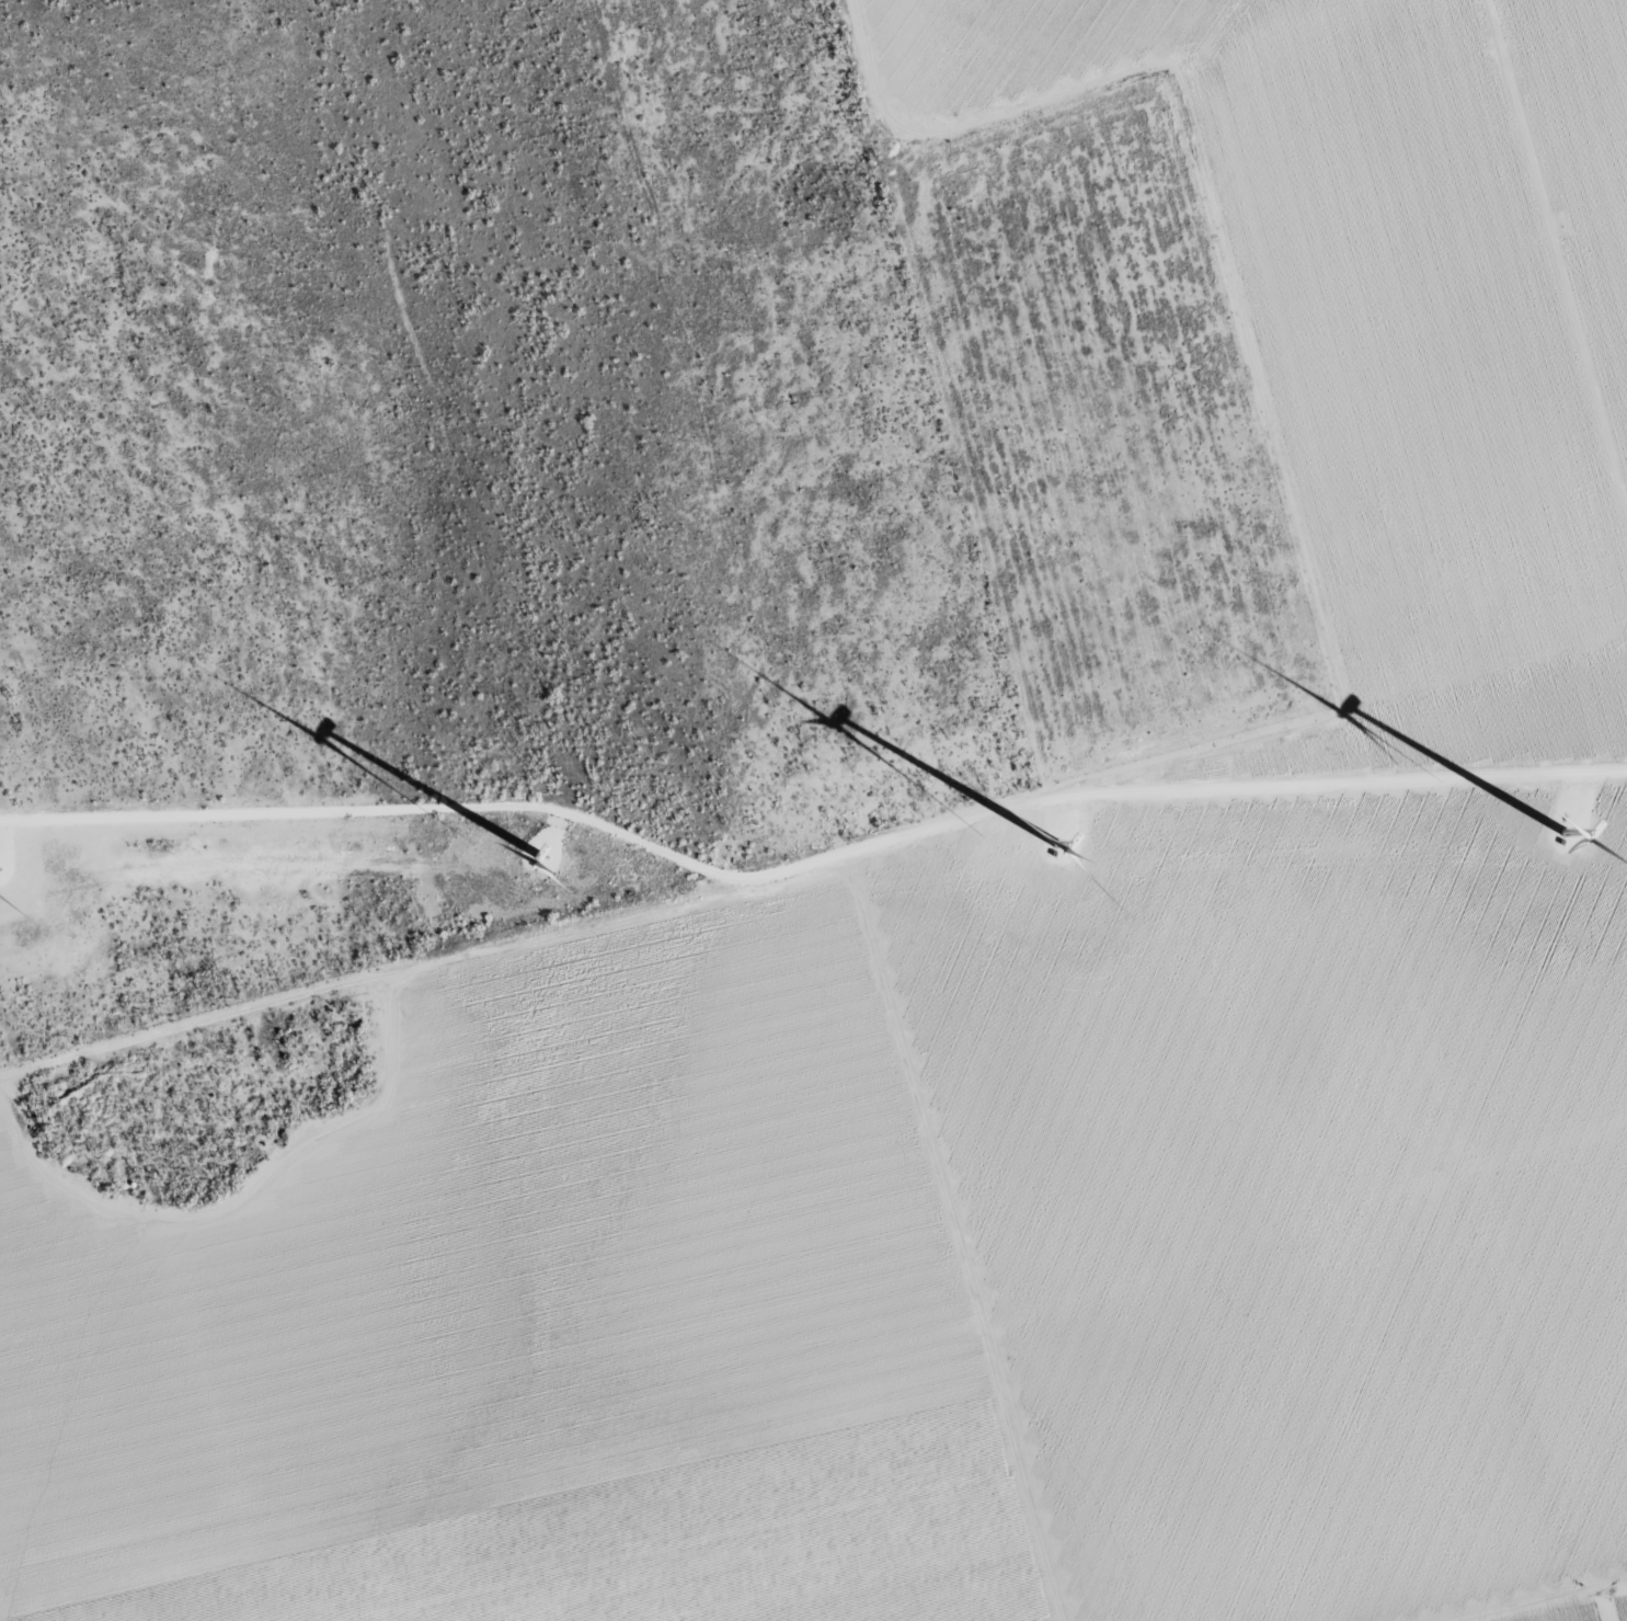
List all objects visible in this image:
wind turbine: (1565, 834)
wind turbine: (1057, 846)
wind turbine: (536, 855)

